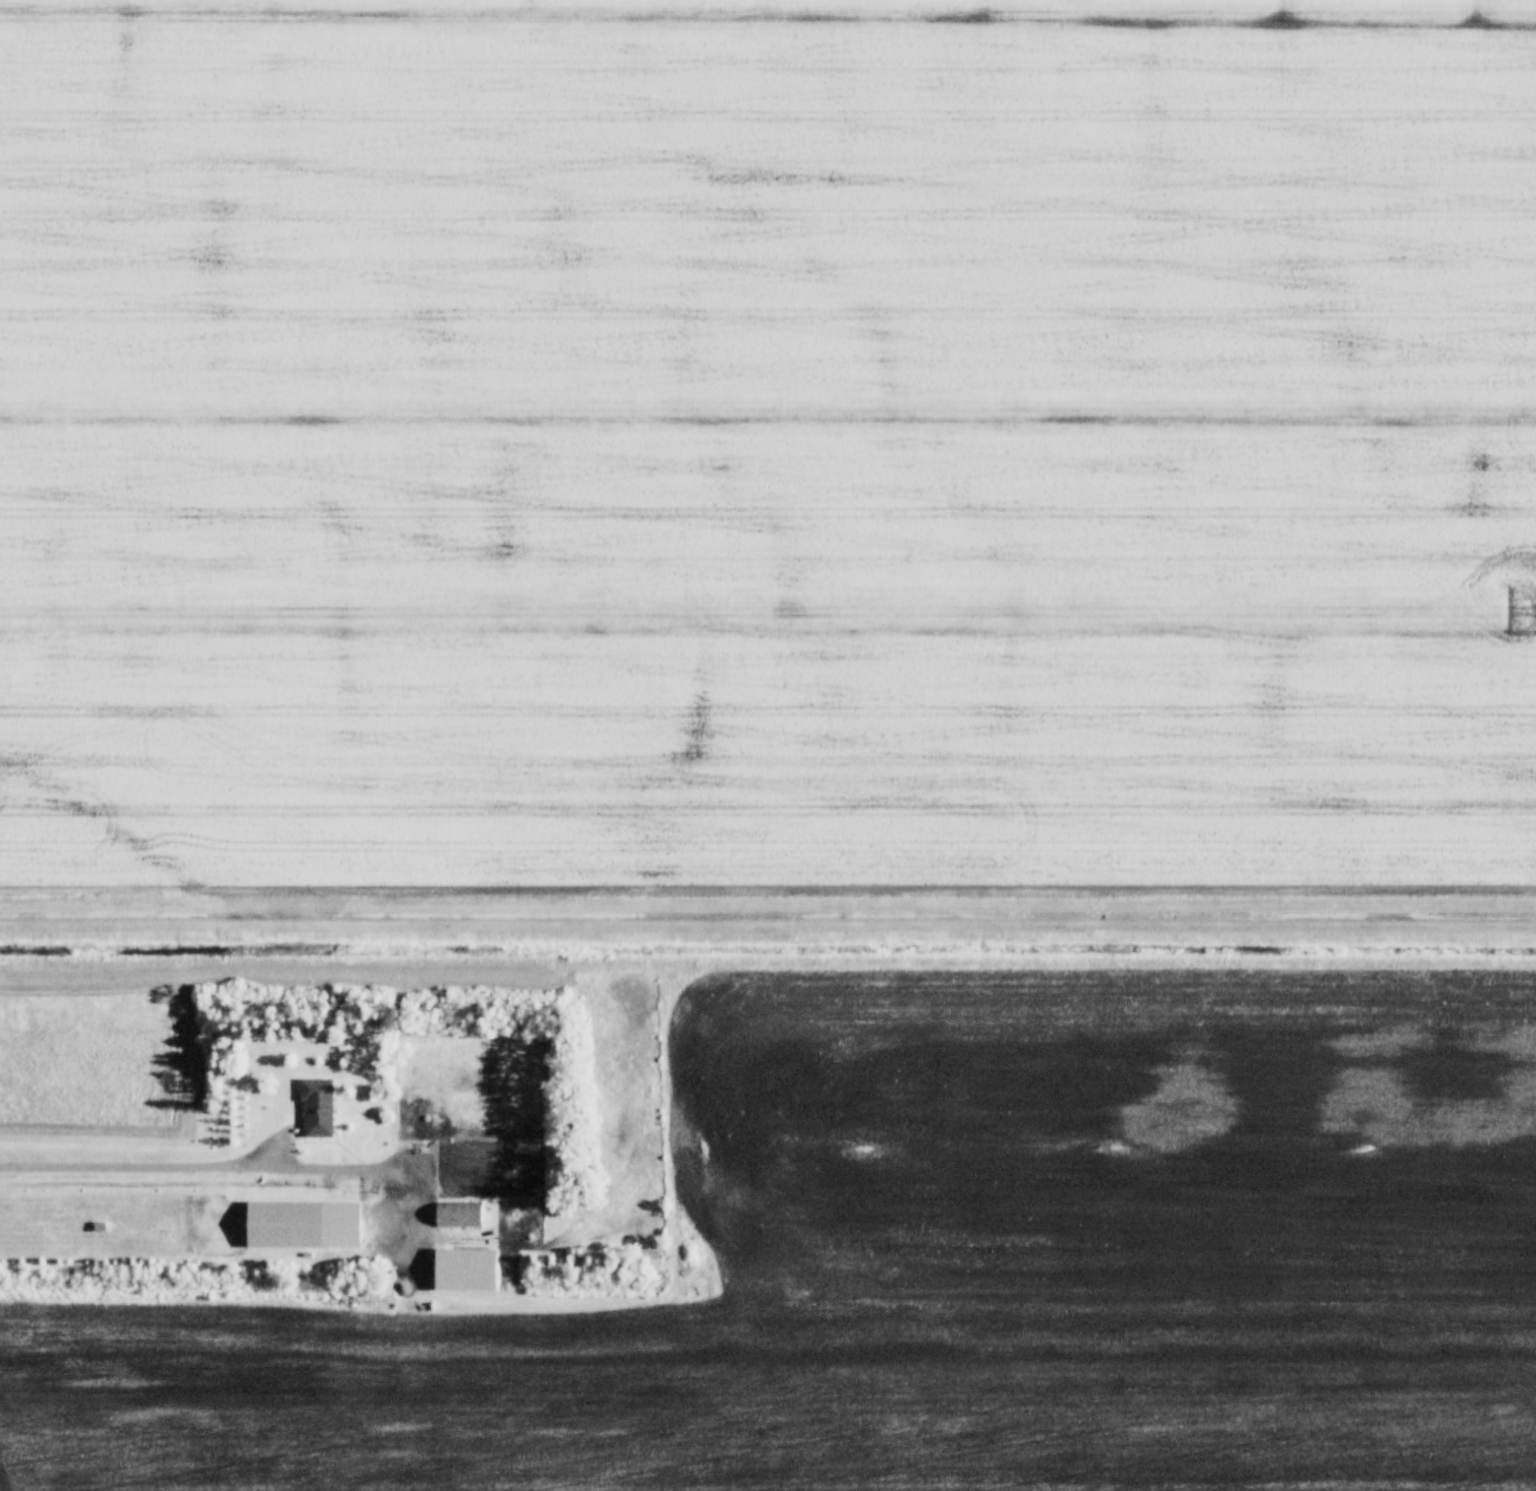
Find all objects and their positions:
crop: (774, 90)
crop: (766, 535)
road: (768, 897)
building: (316, 1104)
road: (507, 1159)
road: (189, 1161)
building: (457, 1213)
crop: (940, 1262)
building: (489, 1268)

